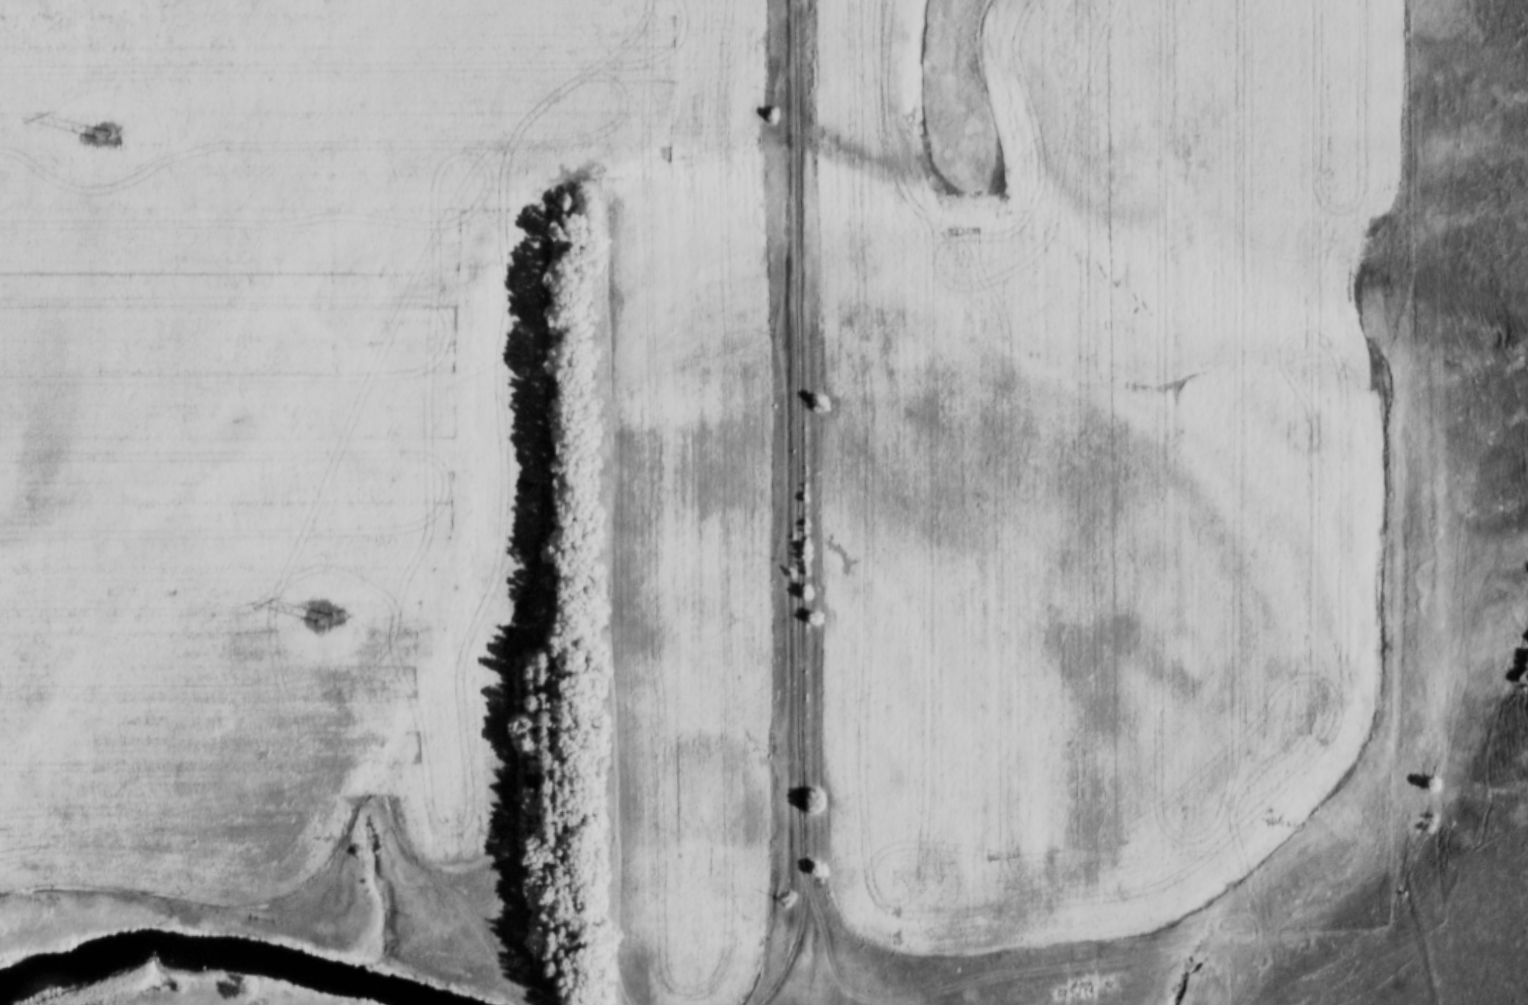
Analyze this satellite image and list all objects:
power tower: (88, 130)
road: (799, 445)
power tower: (314, 618)
road: (829, 948)
road: (792, 952)
road: (1077, 966)

